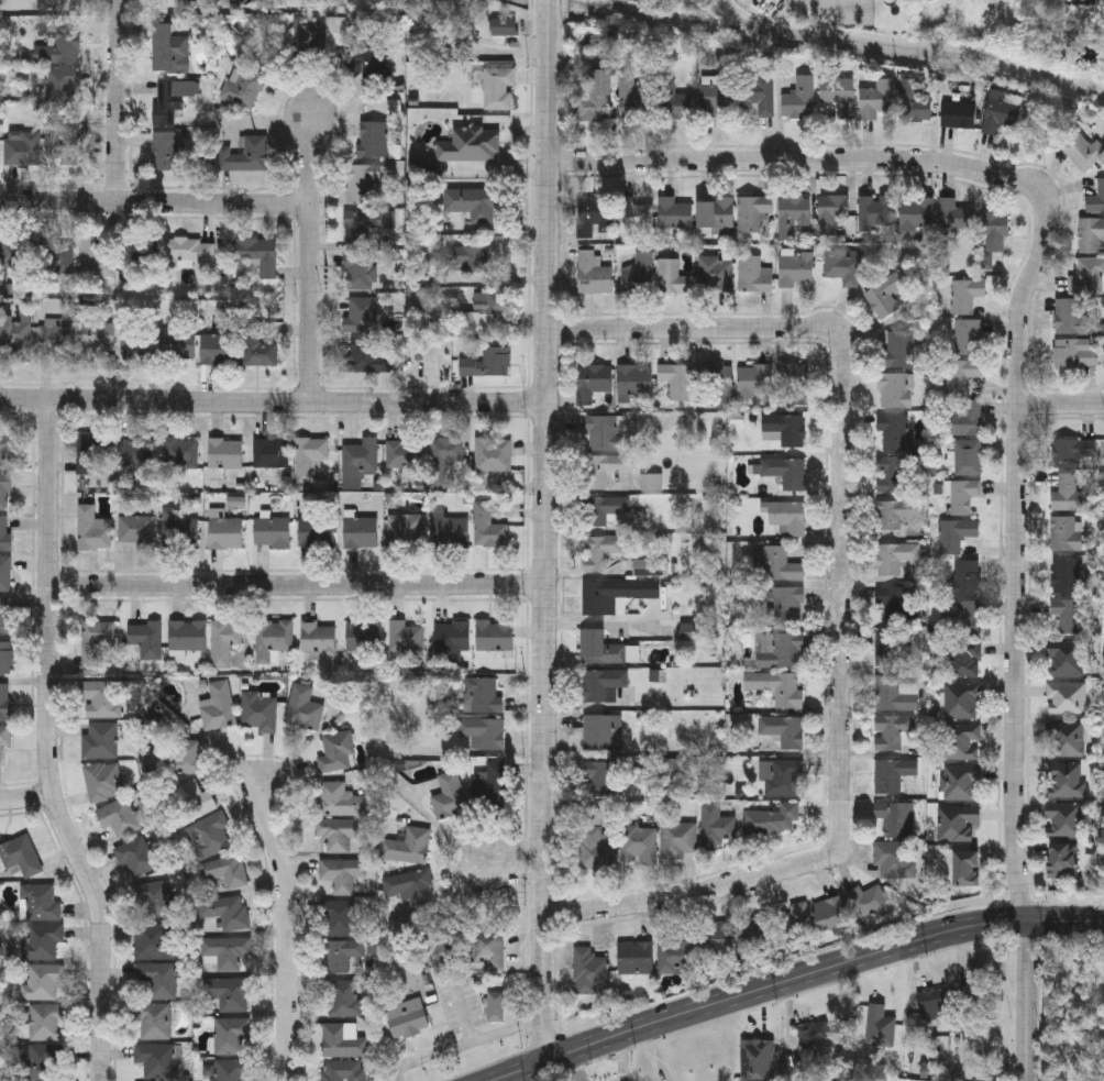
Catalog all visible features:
building: (198, 4)
building: (52, 5)
building: (505, 29)
building: (335, 34)
building: (303, 35)
building: (58, 52)
building: (169, 53)
building: (372, 65)
building: (59, 87)
building: (242, 89)
building: (499, 90)
building: (716, 96)
building: (840, 96)
building: (596, 98)
building: (760, 98)
road: (118, 100)
building: (799, 101)
building: (877, 101)
building: (170, 103)
building: (633, 103)
building: (674, 104)
building: (913, 106)
building: (1001, 114)
building: (960, 117)
building: (374, 142)
building: (62, 144)
building: (471, 147)
building: (22, 150)
building: (1084, 154)
building: (167, 155)
building: (245, 158)
road: (783, 162)
building: (362, 185)
road: (155, 201)
building: (1096, 201)
building: (473, 206)
building: (831, 213)
building: (874, 214)
building: (755, 216)
building: (917, 216)
building: (675, 217)
building: (793, 217)
building: (595, 218)
building: (634, 218)
building: (717, 218)
building: (956, 218)
building: (365, 227)
building: (994, 234)
building: (1091, 238)
building: (187, 254)
building: (258, 257)
building: (18, 258)
building: (55, 258)
road: (309, 260)
building: (95, 262)
building: (467, 262)
building: (843, 268)
building: (796, 272)
building: (360, 273)
building: (594, 275)
building: (716, 275)
building: (639, 276)
building: (754, 277)
building: (673, 279)
building: (1088, 279)
building: (967, 297)
building: (885, 298)
building: (483, 315)
building: (361, 317)
building: (1072, 319)
building: (14, 339)
building: (969, 339)
building: (93, 340)
building: (137, 341)
building: (55, 342)
building: (178, 348)
building: (218, 351)
building: (901, 351)
building: (262, 353)
building: (1073, 356)
building: (366, 360)
building: (487, 364)
building: (961, 377)
building: (676, 382)
building: (755, 383)
building: (593, 384)
building: (636, 384)
building: (717, 386)
building: (794, 387)
building: (897, 393)
road: (273, 404)
road: (1061, 405)
building: (967, 420)
building: (786, 430)
building: (604, 435)
building: (895, 435)
road: (843, 444)
building: (4, 450)
building: (91, 452)
building: (136, 453)
building: (1073, 454)
building: (181, 455)
building: (225, 455)
building: (271, 455)
building: (406, 456)
building: (493, 456)
building: (309, 460)
building: (443, 460)
building: (969, 460)
building: (361, 461)
building: (606, 471)
building: (783, 473)
building: (892, 476)
building: (5, 494)
building: (1069, 496)
building: (964, 497)
building: (605, 512)
building: (897, 515)
building: (788, 518)
building: (406, 529)
building: (488, 529)
road: (547, 529)
building: (93, 532)
building: (136, 532)
building: (179, 532)
building: (225, 533)
building: (273, 533)
building: (450, 533)
building: (317, 534)
building: (361, 534)
building: (5, 536)
building: (959, 536)
building: (1067, 536)
road: (1017, 542)
building: (599, 554)
building: (895, 559)
building: (776, 566)
building: (650, 570)
building: (5, 576)
building: (1067, 578)
building: (967, 581)
road: (298, 585)
building: (614, 595)
building: (897, 607)
building: (786, 608)
building: (1070, 617)
building: (5, 618)
building: (967, 621)
building: (495, 638)
building: (406, 639)
building: (452, 639)
building: (273, 640)
building: (146, 641)
building: (363, 641)
building: (319, 642)
building: (95, 643)
building: (224, 644)
building: (779, 652)
building: (892, 652)
building: (7, 660)
building: (964, 661)
building: (1067, 664)
building: (604, 687)
building: (779, 690)
building: (894, 696)
building: (482, 698)
building: (1067, 701)
building: (103, 702)
building: (962, 703)
building: (4, 704)
building: (219, 709)
building: (303, 710)
building: (260, 715)
building: (784, 732)
building: (893, 733)
building: (484, 735)
building: (603, 736)
building: (4, 739)
building: (1066, 741)
building: (100, 742)
building: (963, 744)
road: (48, 746)
building: (336, 754)
building: (186, 759)
building: (673, 771)
building: (893, 776)
building: (782, 780)
building: (600, 781)
building: (103, 783)
building: (1066, 783)
building: (495, 784)
building: (961, 785)
road: (27, 796)
building: (450, 798)
building: (195, 802)
building: (341, 802)
building: (118, 819)
building: (895, 820)
building: (772, 823)
building: (1066, 823)
building: (958, 825)
building: (715, 829)
building: (340, 835)
building: (209, 837)
building: (678, 841)
building: (595, 843)
building: (640, 847)
building: (408, 848)
building: (20, 857)
building: (136, 859)
building: (895, 861)
building: (1063, 862)
road: (511, 867)
building: (967, 869)
building: (225, 872)
building: (342, 875)
building: (410, 889)
road: (699, 893)
building: (154, 901)
building: (871, 903)
building: (40, 904)
building: (227, 913)
building: (832, 915)
building: (340, 920)
building: (796, 929)
road: (287, 933)
building: (445, 937)
building: (754, 937)
building: (724, 940)
building: (153, 942)
building: (42, 944)
building: (487, 951)
building: (225, 952)
building: (339, 956)
building: (676, 957)
building: (634, 961)
building: (588, 973)
road: (791, 978)
building: (157, 980)
building: (43, 982)
building: (978, 993)
building: (229, 995)
building: (931, 999)
road: (1029, 1000)
building: (343, 1001)
building: (496, 1005)
road: (1068, 1008)
building: (407, 1021)
building: (155, 1023)
building: (46, 1024)
building: (814, 1033)
building: (230, 1037)
road: (473, 1041)
building: (343, 1043)
building: (42, 1063)
building: (156, 1063)
building: (231, 1071)
building: (344, 1071)
road: (398, 1074)

